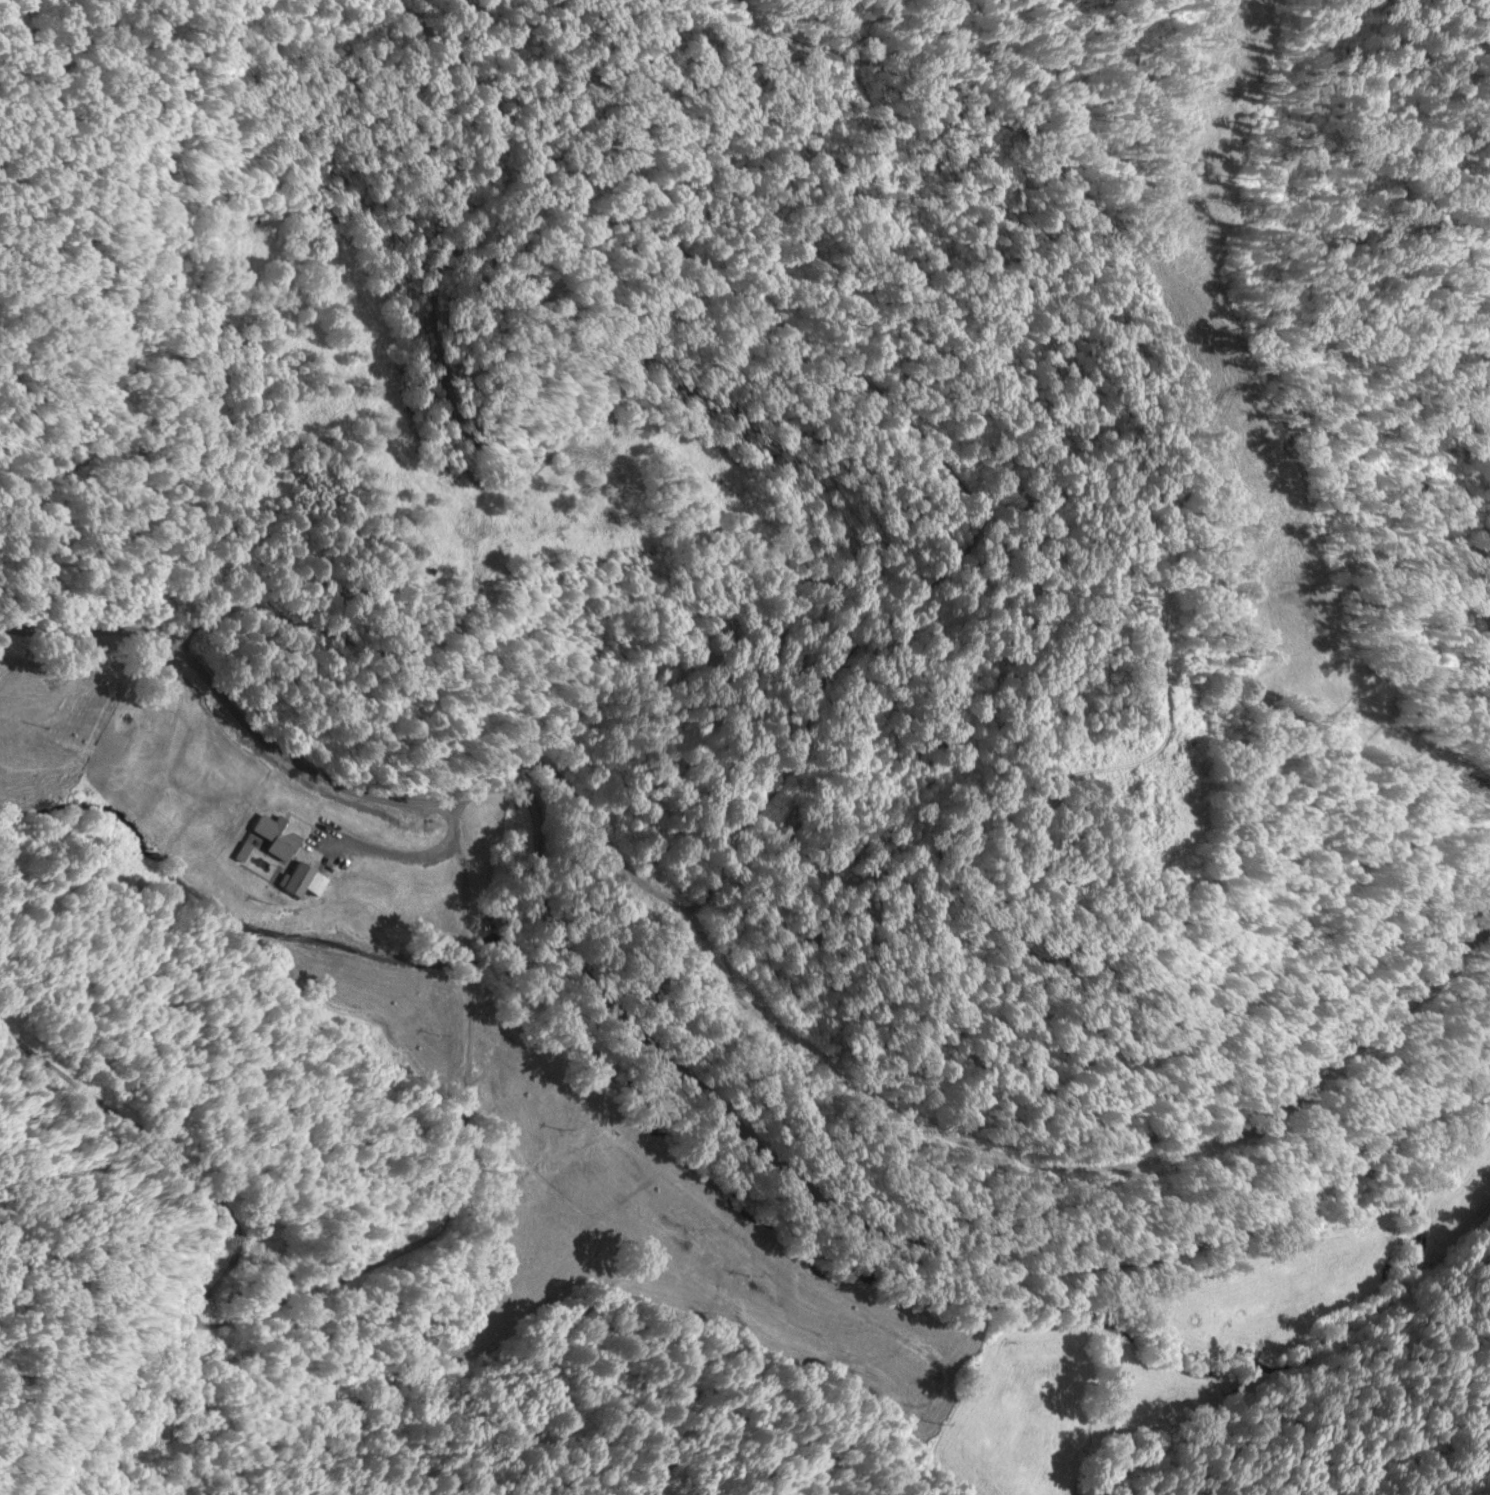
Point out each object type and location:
road: (712, 1059)

